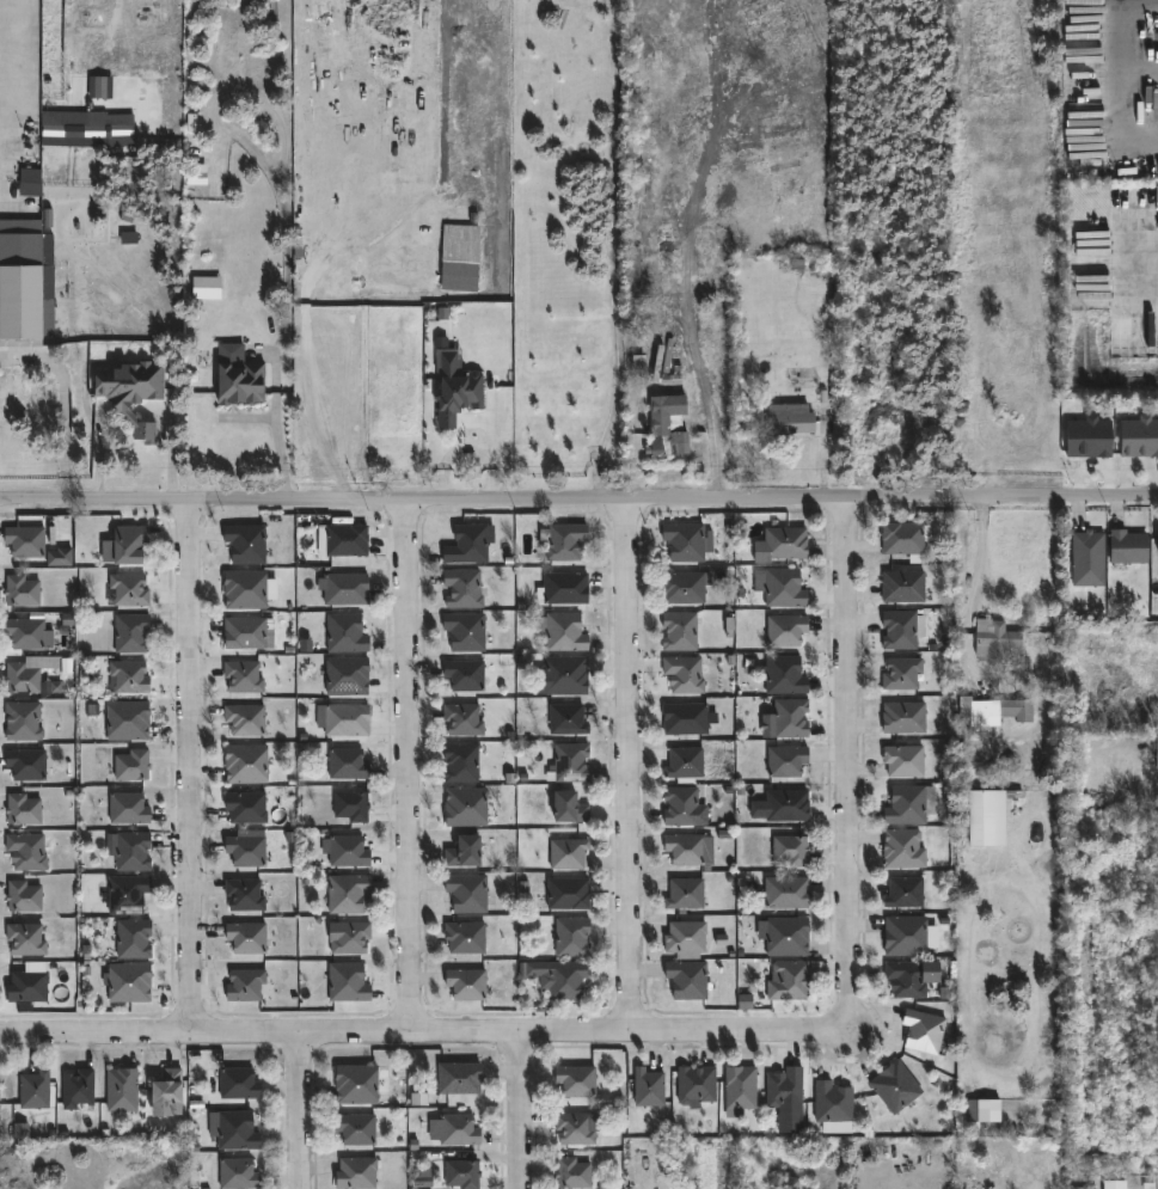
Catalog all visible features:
road: (1140, 74)
building: (100, 87)
road: (1122, 88)
building: (87, 130)
building: (30, 183)
building: (454, 261)
road: (1144, 268)
building: (207, 289)
building: (19, 302)
road: (307, 378)
building: (239, 381)
building: (455, 388)
building: (129, 392)
road: (62, 403)
building: (789, 419)
road: (613, 421)
building: (667, 427)
building: (1089, 437)
building: (1138, 437)
road: (490, 445)
road: (280, 449)
road: (171, 451)
road: (452, 459)
road: (100, 462)
road: (578, 498)
building: (344, 539)
building: (903, 539)
building: (27, 540)
building: (566, 540)
building: (684, 541)
building: (128, 544)
building: (245, 544)
building: (782, 544)
building: (466, 545)
building: (1125, 546)
building: (59, 558)
building: (1087, 558)
road: (981, 563)
building: (788, 587)
building: (903, 587)
building: (461, 588)
building: (682, 588)
building: (131, 589)
building: (244, 589)
building: (344, 589)
building: (563, 589)
building: (23, 590)
building: (785, 629)
building: (467, 630)
building: (899, 630)
building: (565, 631)
building: (27, 632)
building: (348, 632)
building: (679, 632)
building: (130, 633)
building: (246, 633)
building: (991, 641)
building: (465, 674)
building: (901, 674)
building: (347, 675)
building: (684, 675)
building: (784, 675)
building: (241, 676)
building: (562, 676)
building: (24, 678)
building: (128, 678)
building: (993, 711)
building: (903, 717)
building: (790, 718)
building: (342, 719)
building: (566, 719)
building: (685, 719)
building: (22, 721)
building: (128, 721)
building: (244, 721)
building: (462, 721)
building: (1157, 749)
building: (903, 760)
building: (785, 761)
building: (460, 764)
building: (570, 764)
building: (684, 764)
building: (26, 765)
building: (245, 765)
building: (347, 765)
building: (130, 766)
road: (857, 766)
road: (636, 767)
road: (198, 768)
road: (417, 768)
building: (681, 805)
building: (786, 805)
building: (909, 805)
building: (350, 807)
building: (129, 808)
building: (466, 808)
building: (23, 809)
building: (245, 809)
building: (569, 809)
building: (987, 819)
building: (902, 848)
building: (686, 850)
building: (788, 850)
building: (29, 851)
building: (246, 851)
building: (344, 851)
building: (131, 852)
building: (460, 854)
building: (566, 854)
building: (784, 893)
building: (905, 893)
building: (347, 894)
building: (466, 894)
building: (568, 894)
building: (129, 895)
building: (244, 895)
building: (685, 895)
building: (23, 896)
building: (905, 936)
building: (246, 937)
building: (465, 937)
building: (789, 937)
building: (350, 938)
building: (571, 938)
building: (24, 939)
building: (131, 939)
building: (685, 939)
building: (908, 977)
building: (559, 979)
building: (686, 980)
building: (345, 981)
building: (789, 981)
building: (128, 983)
building: (465, 983)
building: (244, 985)
building: (30, 986)
building: (923, 1030)
road: (419, 1040)
building: (458, 1078)
building: (575, 1080)
building: (238, 1083)
building: (696, 1083)
building: (359, 1084)
building: (649, 1086)
building: (784, 1086)
building: (896, 1086)
building: (76, 1087)
building: (121, 1089)
building: (33, 1090)
building: (740, 1090)
building: (164, 1091)
building: (833, 1108)
building: (982, 1113)
road: (306, 1114)
road: (529, 1114)
building: (355, 1128)
building: (572, 1128)
building: (20, 1130)
building: (235, 1130)
building: (459, 1130)
building: (355, 1173)
building: (461, 1173)
building: (572, 1173)
building: (240, 1175)
building: (423, 1178)
building: (1114, 1184)

